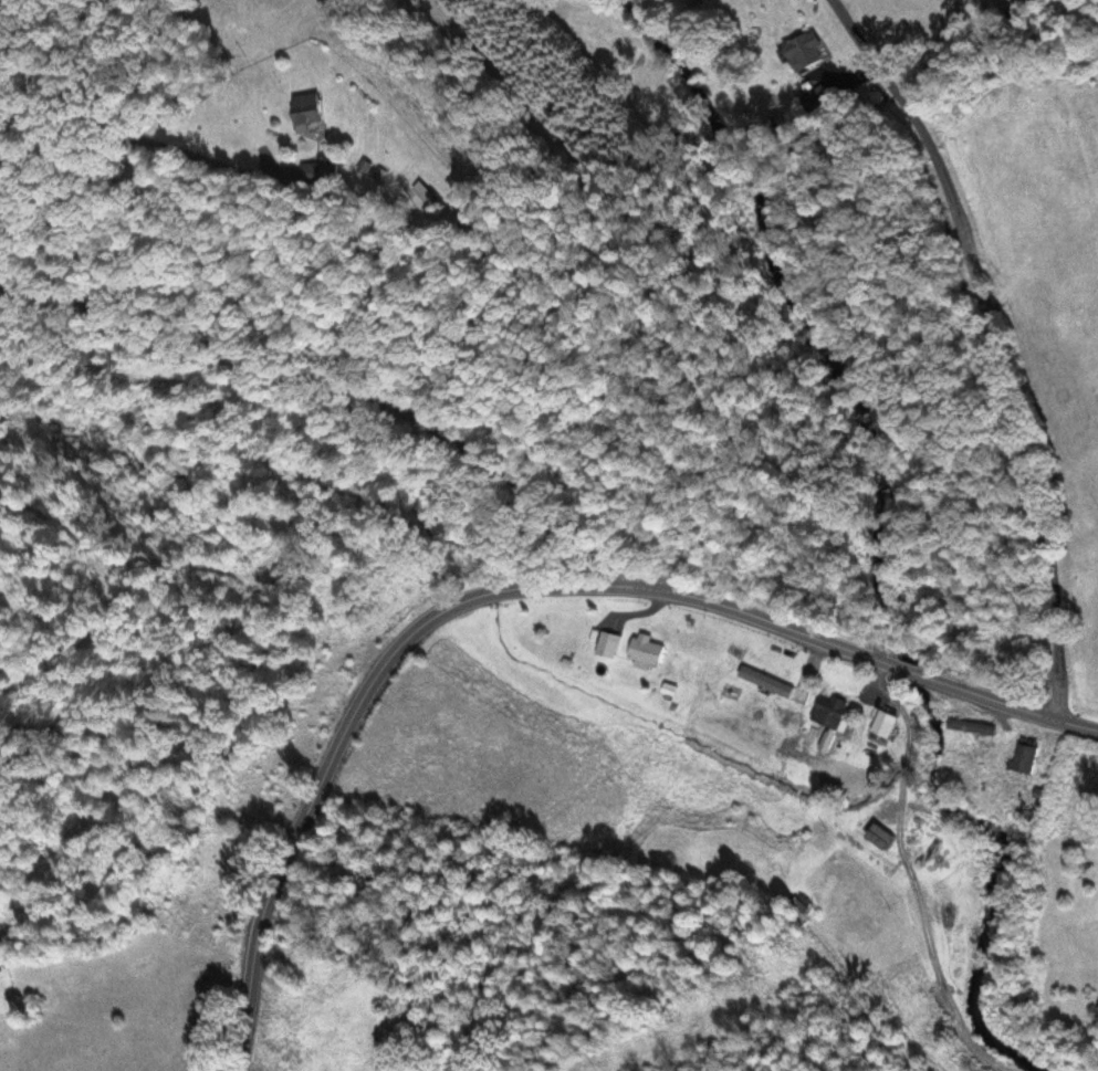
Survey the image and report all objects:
building: (804, 52)
building: (305, 113)
road: (1000, 344)
road: (351, 386)
road: (522, 590)
building: (607, 645)
building: (646, 651)
building: (829, 713)
building: (883, 725)
building: (1025, 757)
building: (879, 839)

